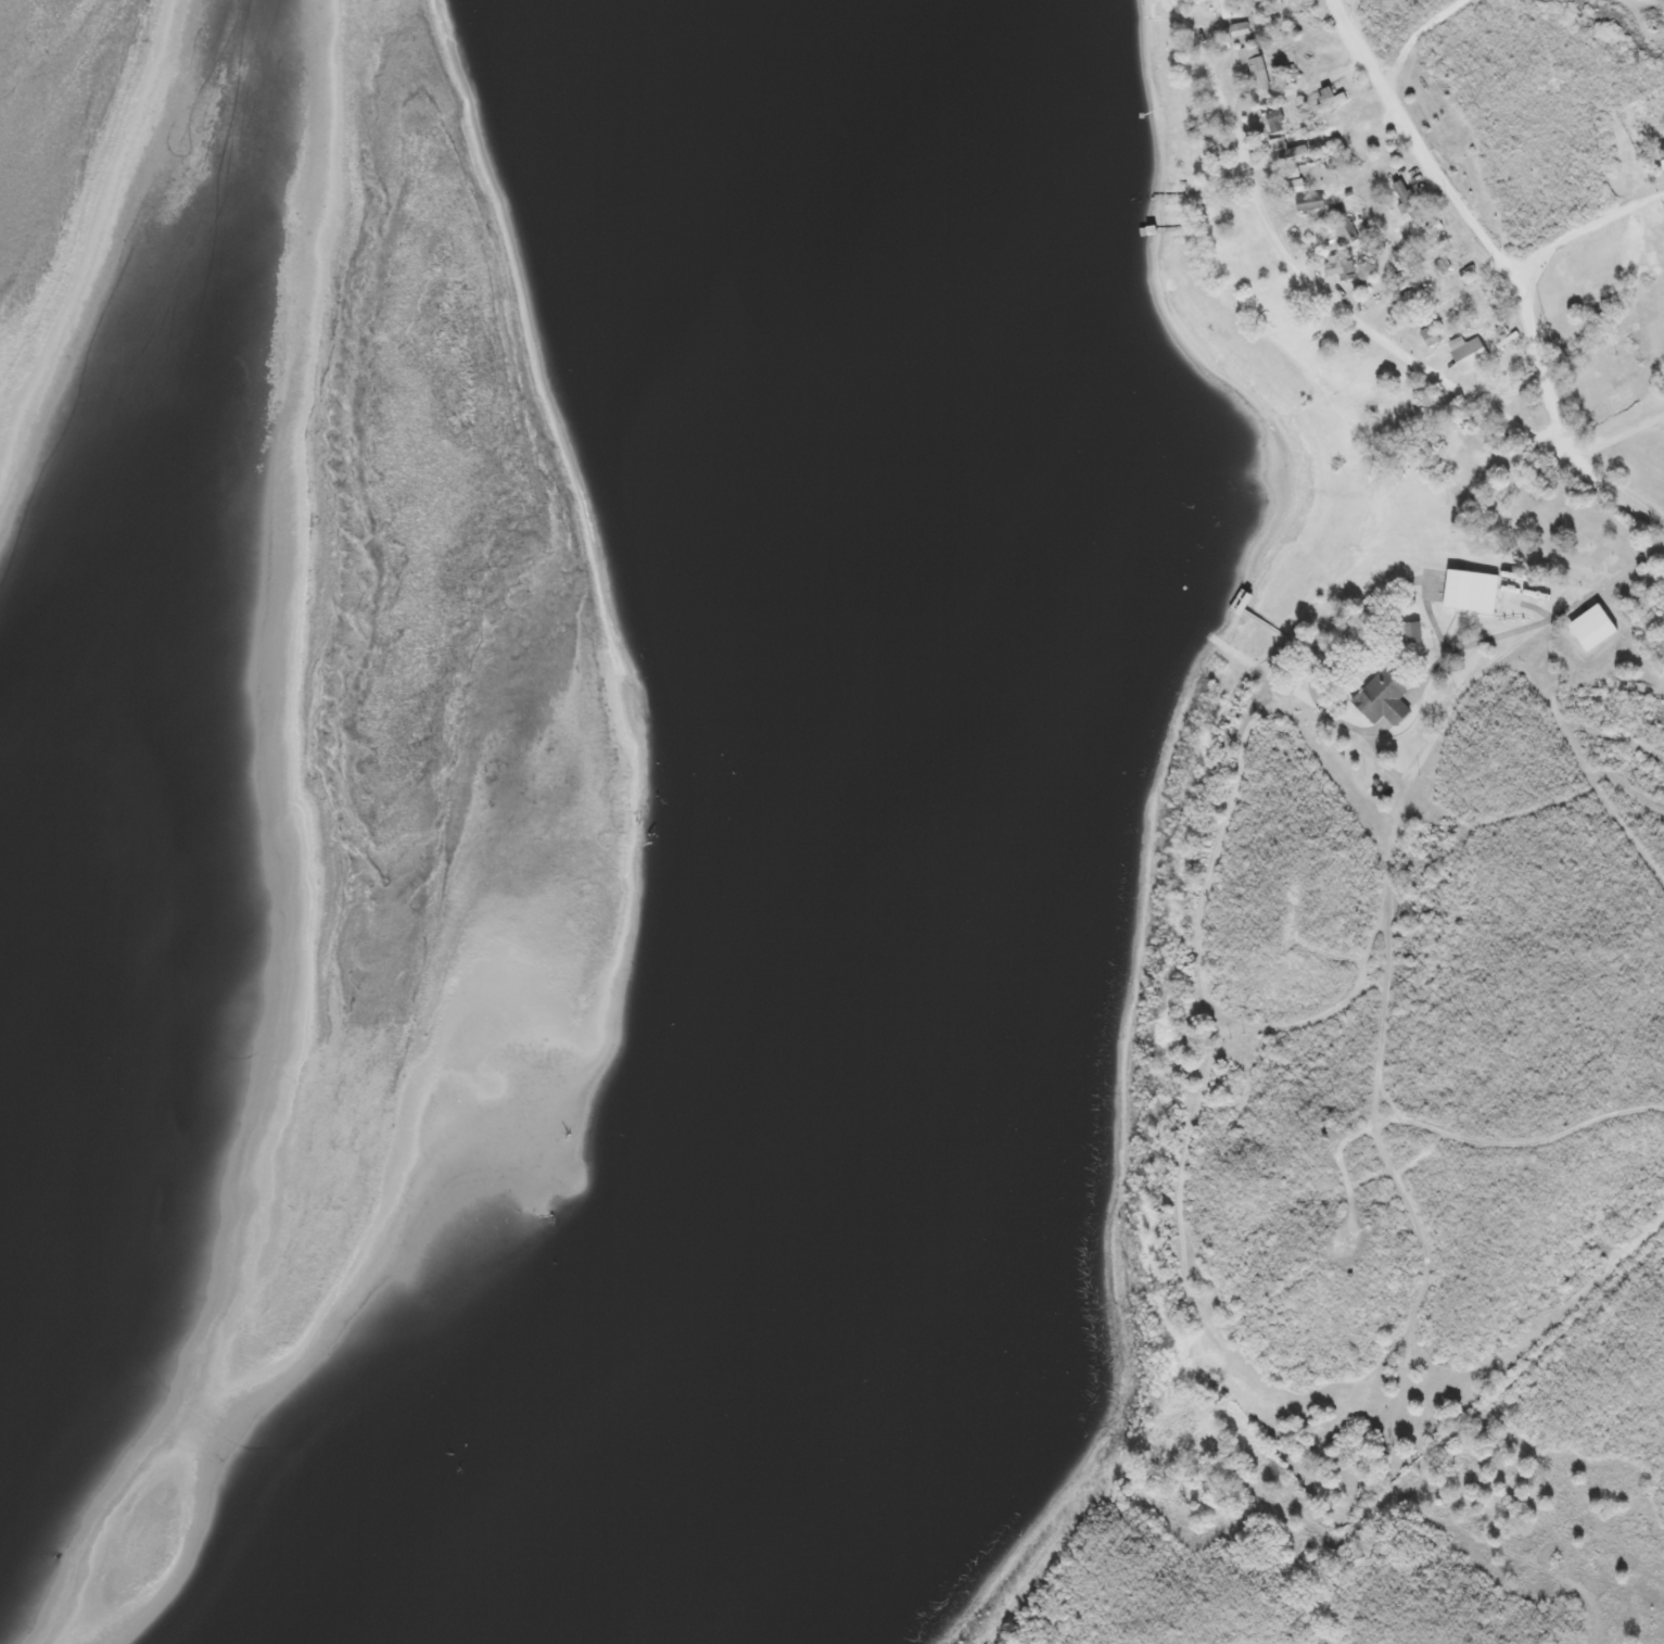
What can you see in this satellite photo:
building: (1385, 4)
building: (1227, 8)
building: (1239, 33)
building: (1253, 64)
building: (1330, 101)
building: (1275, 122)
building: (1278, 142)
building: (1287, 152)
building: (1662, 152)
building: (1286, 173)
building: (1290, 185)
building: (1308, 202)
building: (1409, 205)
road: (1475, 216)
building: (1344, 232)
building: (1335, 266)
building: (1458, 271)
road: (1344, 309)
building: (1428, 334)
building: (1506, 338)
building: (1465, 350)
road: (1616, 486)
building: (1468, 591)
building: (1589, 628)
building: (1413, 630)
building: (1382, 698)

